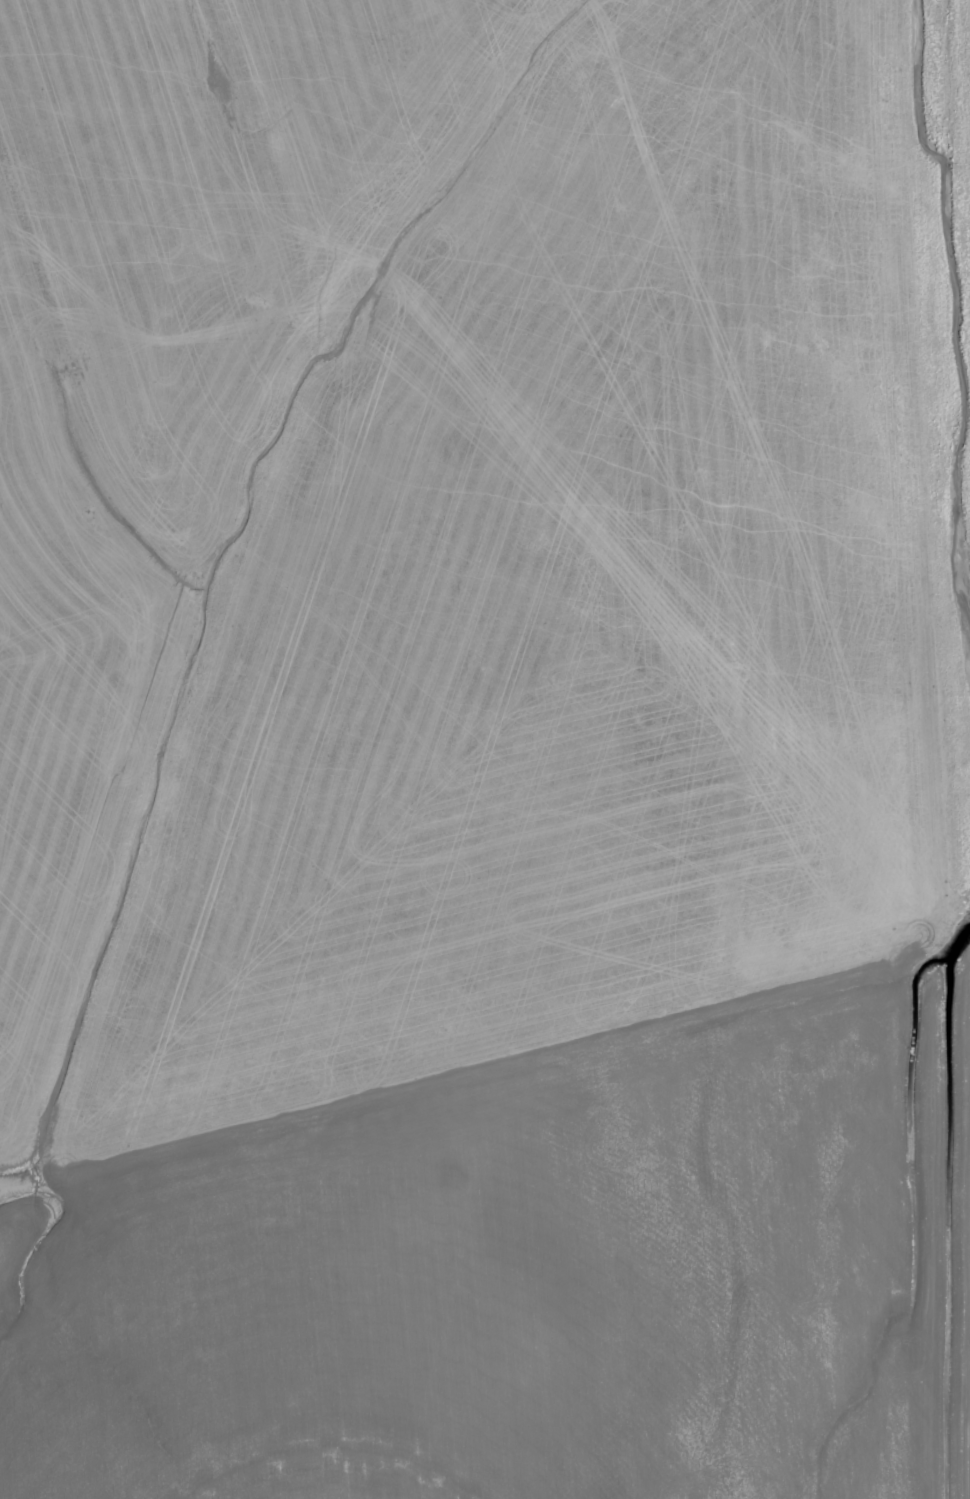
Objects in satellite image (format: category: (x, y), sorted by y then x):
road: (82, 85)

